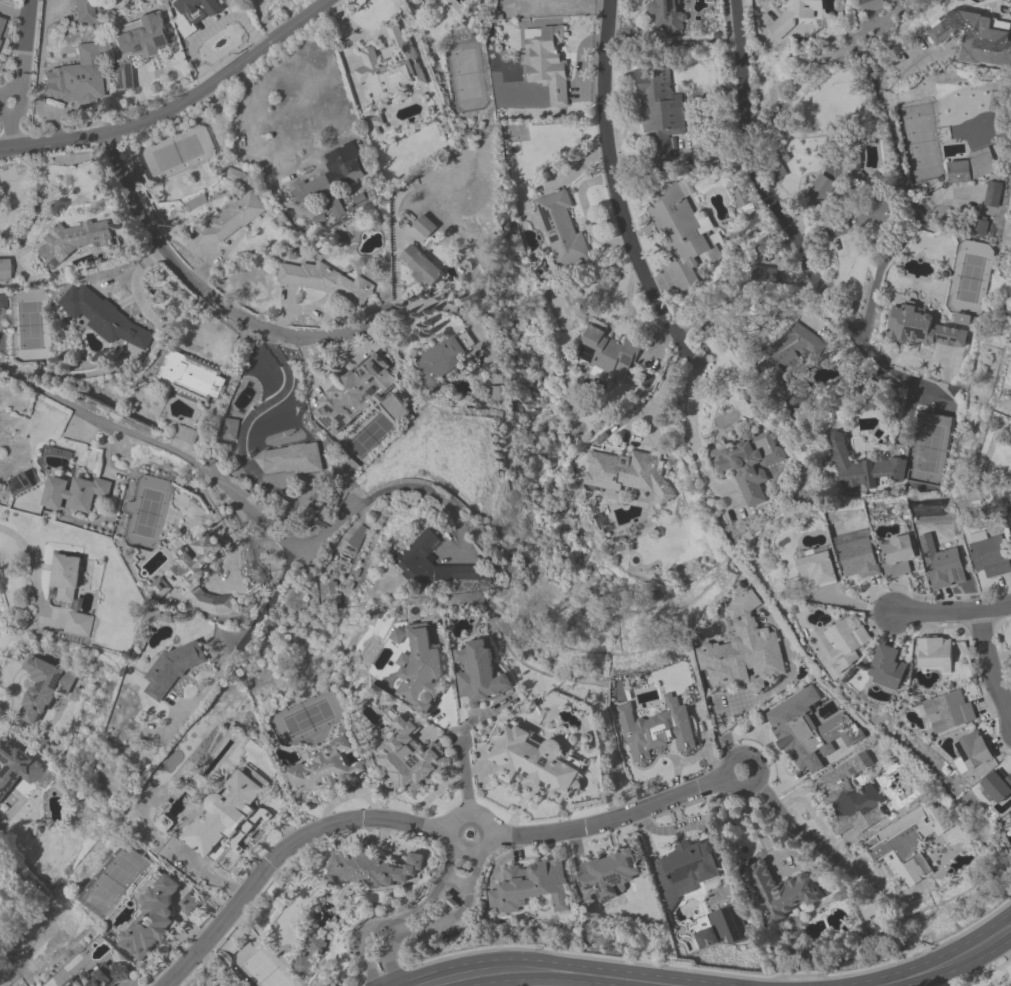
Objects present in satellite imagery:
building: (426, 1)
building: (870, 5)
building: (83, 10)
building: (195, 13)
building: (795, 15)
building: (665, 17)
building: (2, 25)
building: (939, 32)
building: (986, 41)
road: (22, 45)
building: (137, 45)
building: (546, 65)
building: (390, 71)
building: (76, 79)
building: (1003, 102)
road: (27, 103)
road: (178, 106)
building: (659, 109)
road: (13, 135)
road: (235, 146)
building: (972, 167)
building: (777, 171)
building: (235, 176)
building: (331, 178)
road: (614, 182)
building: (818, 192)
building: (990, 195)
building: (860, 218)
building: (228, 221)
road: (781, 224)
building: (424, 227)
building: (561, 230)
building: (679, 231)
road: (888, 246)
building: (420, 266)
building: (4, 272)
building: (324, 281)
road: (208, 295)
road: (434, 305)
building: (105, 318)
building: (923, 329)
building: (607, 353)
building: (441, 360)
building: (786, 361)
building: (188, 375)
road: (660, 390)
building: (355, 393)
building: (1010, 429)
building: (231, 430)
road: (691, 434)
road: (239, 435)
road: (137, 443)
building: (1010, 443)
building: (1010, 450)
building: (288, 459)
building: (749, 465)
building: (856, 467)
building: (629, 473)
building: (19, 483)
building: (75, 494)
road: (365, 501)
building: (418, 553)
building: (989, 554)
building: (897, 556)
building: (856, 558)
road: (34, 566)
building: (942, 567)
building: (817, 569)
building: (199, 576)
building: (66, 579)
building: (160, 589)
road: (950, 615)
road: (260, 616)
building: (78, 625)
building: (845, 644)
building: (742, 653)
building: (934, 653)
road: (994, 663)
building: (887, 669)
building: (421, 671)
building: (477, 673)
building: (42, 687)
building: (949, 711)
building: (655, 730)
building: (808, 731)
building: (972, 751)
building: (409, 754)
building: (535, 764)
building: (331, 765)
building: (15, 767)
road: (464, 775)
building: (996, 787)
building: (846, 798)
building: (226, 814)
building: (1009, 817)
road: (618, 819)
building: (166, 824)
road: (797, 831)
road: (447, 839)
building: (907, 847)
road: (278, 853)
road: (463, 861)
building: (687, 867)
building: (376, 869)
building: (609, 875)
building: (530, 887)
building: (779, 893)
building: (189, 905)
building: (153, 921)
road: (408, 924)
building: (728, 925)
building: (308, 953)
road: (947, 963)
road: (557, 971)
building: (105, 975)

